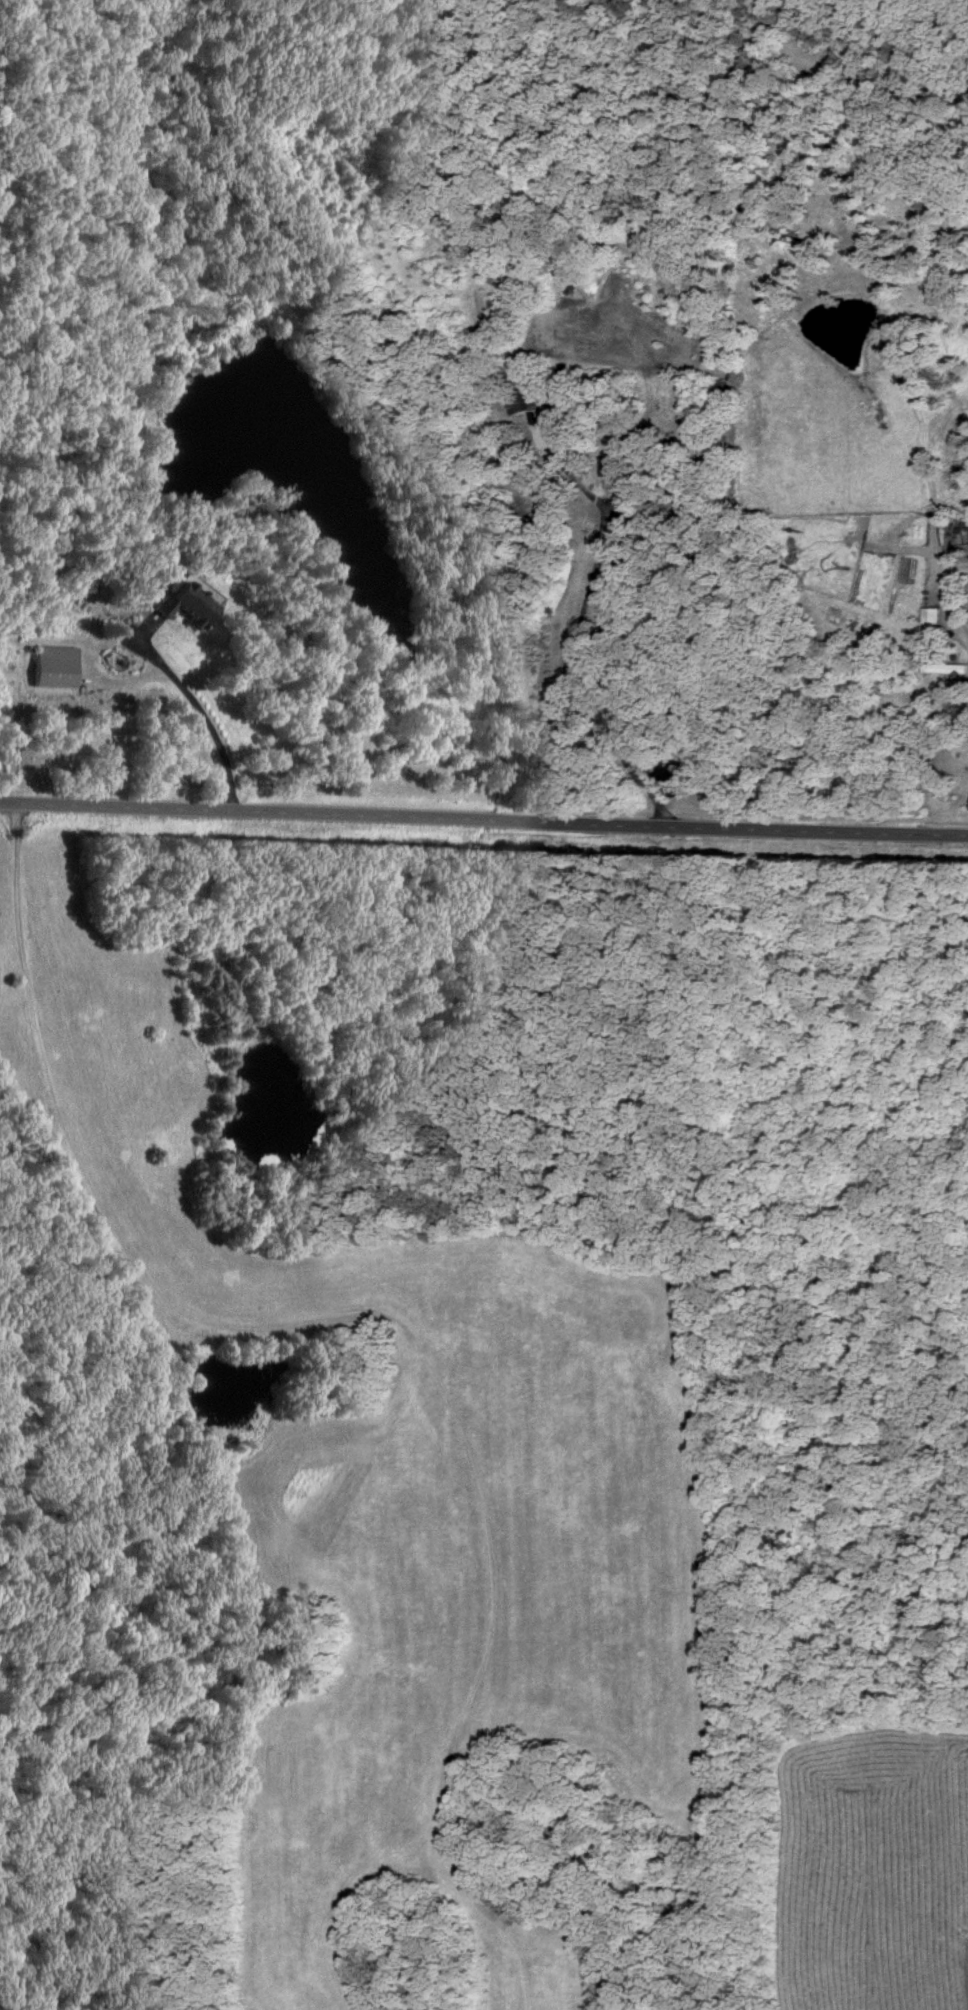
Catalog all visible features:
building: (522, 403)
building: (558, 434)
building: (612, 468)
building: (184, 605)
road: (956, 631)
road: (568, 646)
building: (941, 662)
building: (57, 669)
road: (202, 723)
road: (484, 816)
road: (14, 896)

